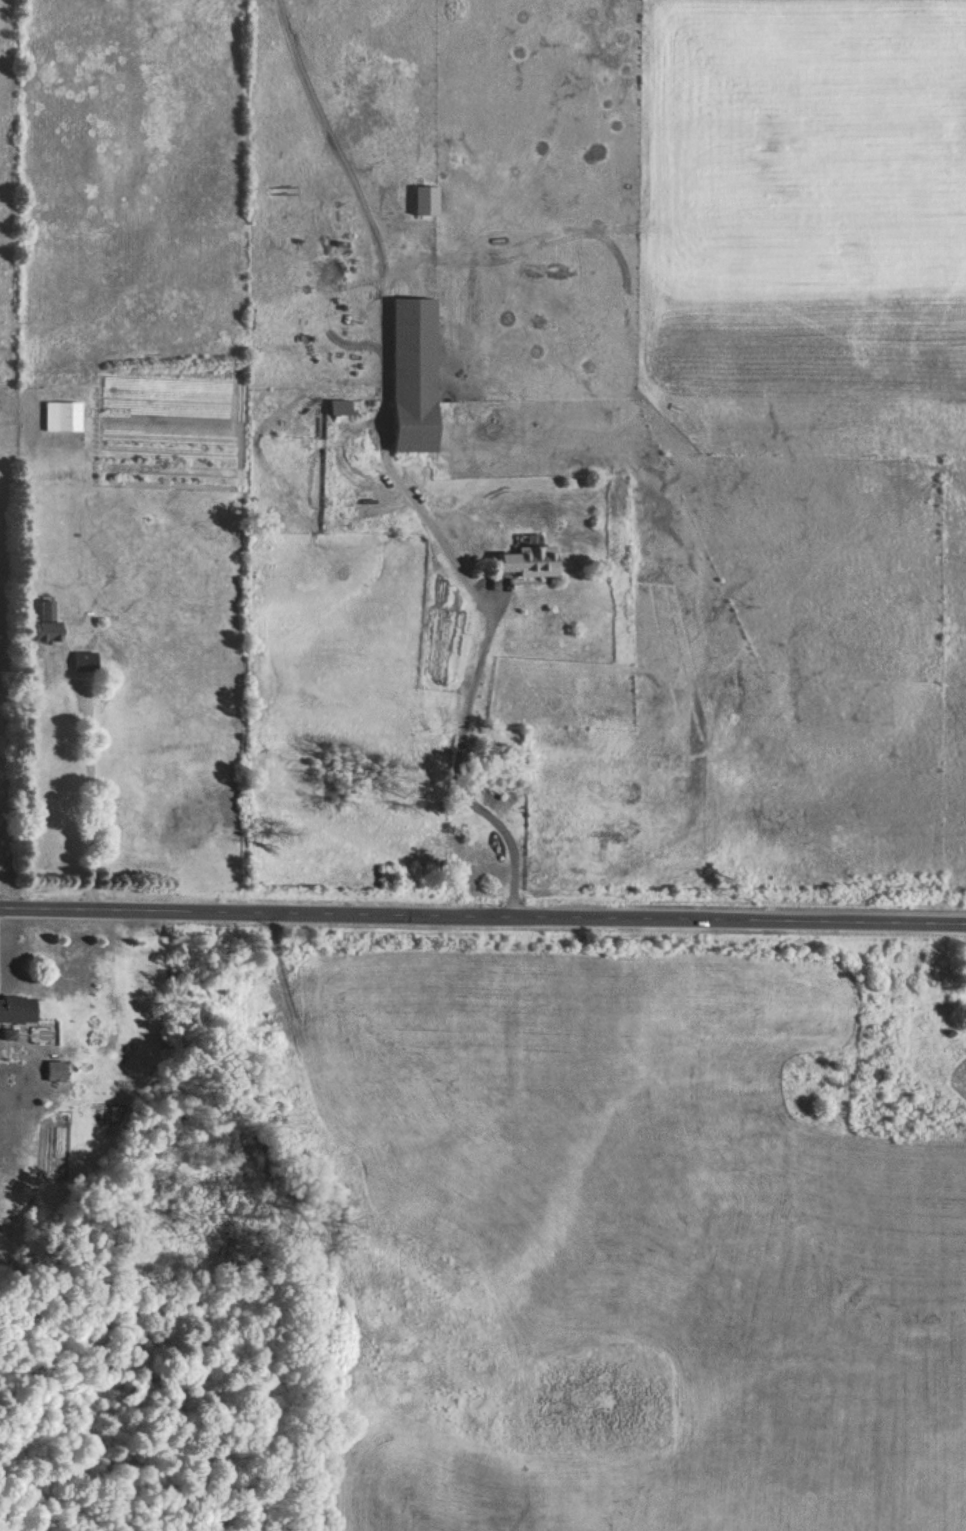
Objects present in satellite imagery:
building: (426, 202)
building: (414, 377)
building: (63, 420)
building: (529, 564)
building: (48, 627)
building: (85, 666)
road: (468, 691)
road: (90, 803)
road: (482, 922)
building: (17, 1012)
building: (56, 1074)

